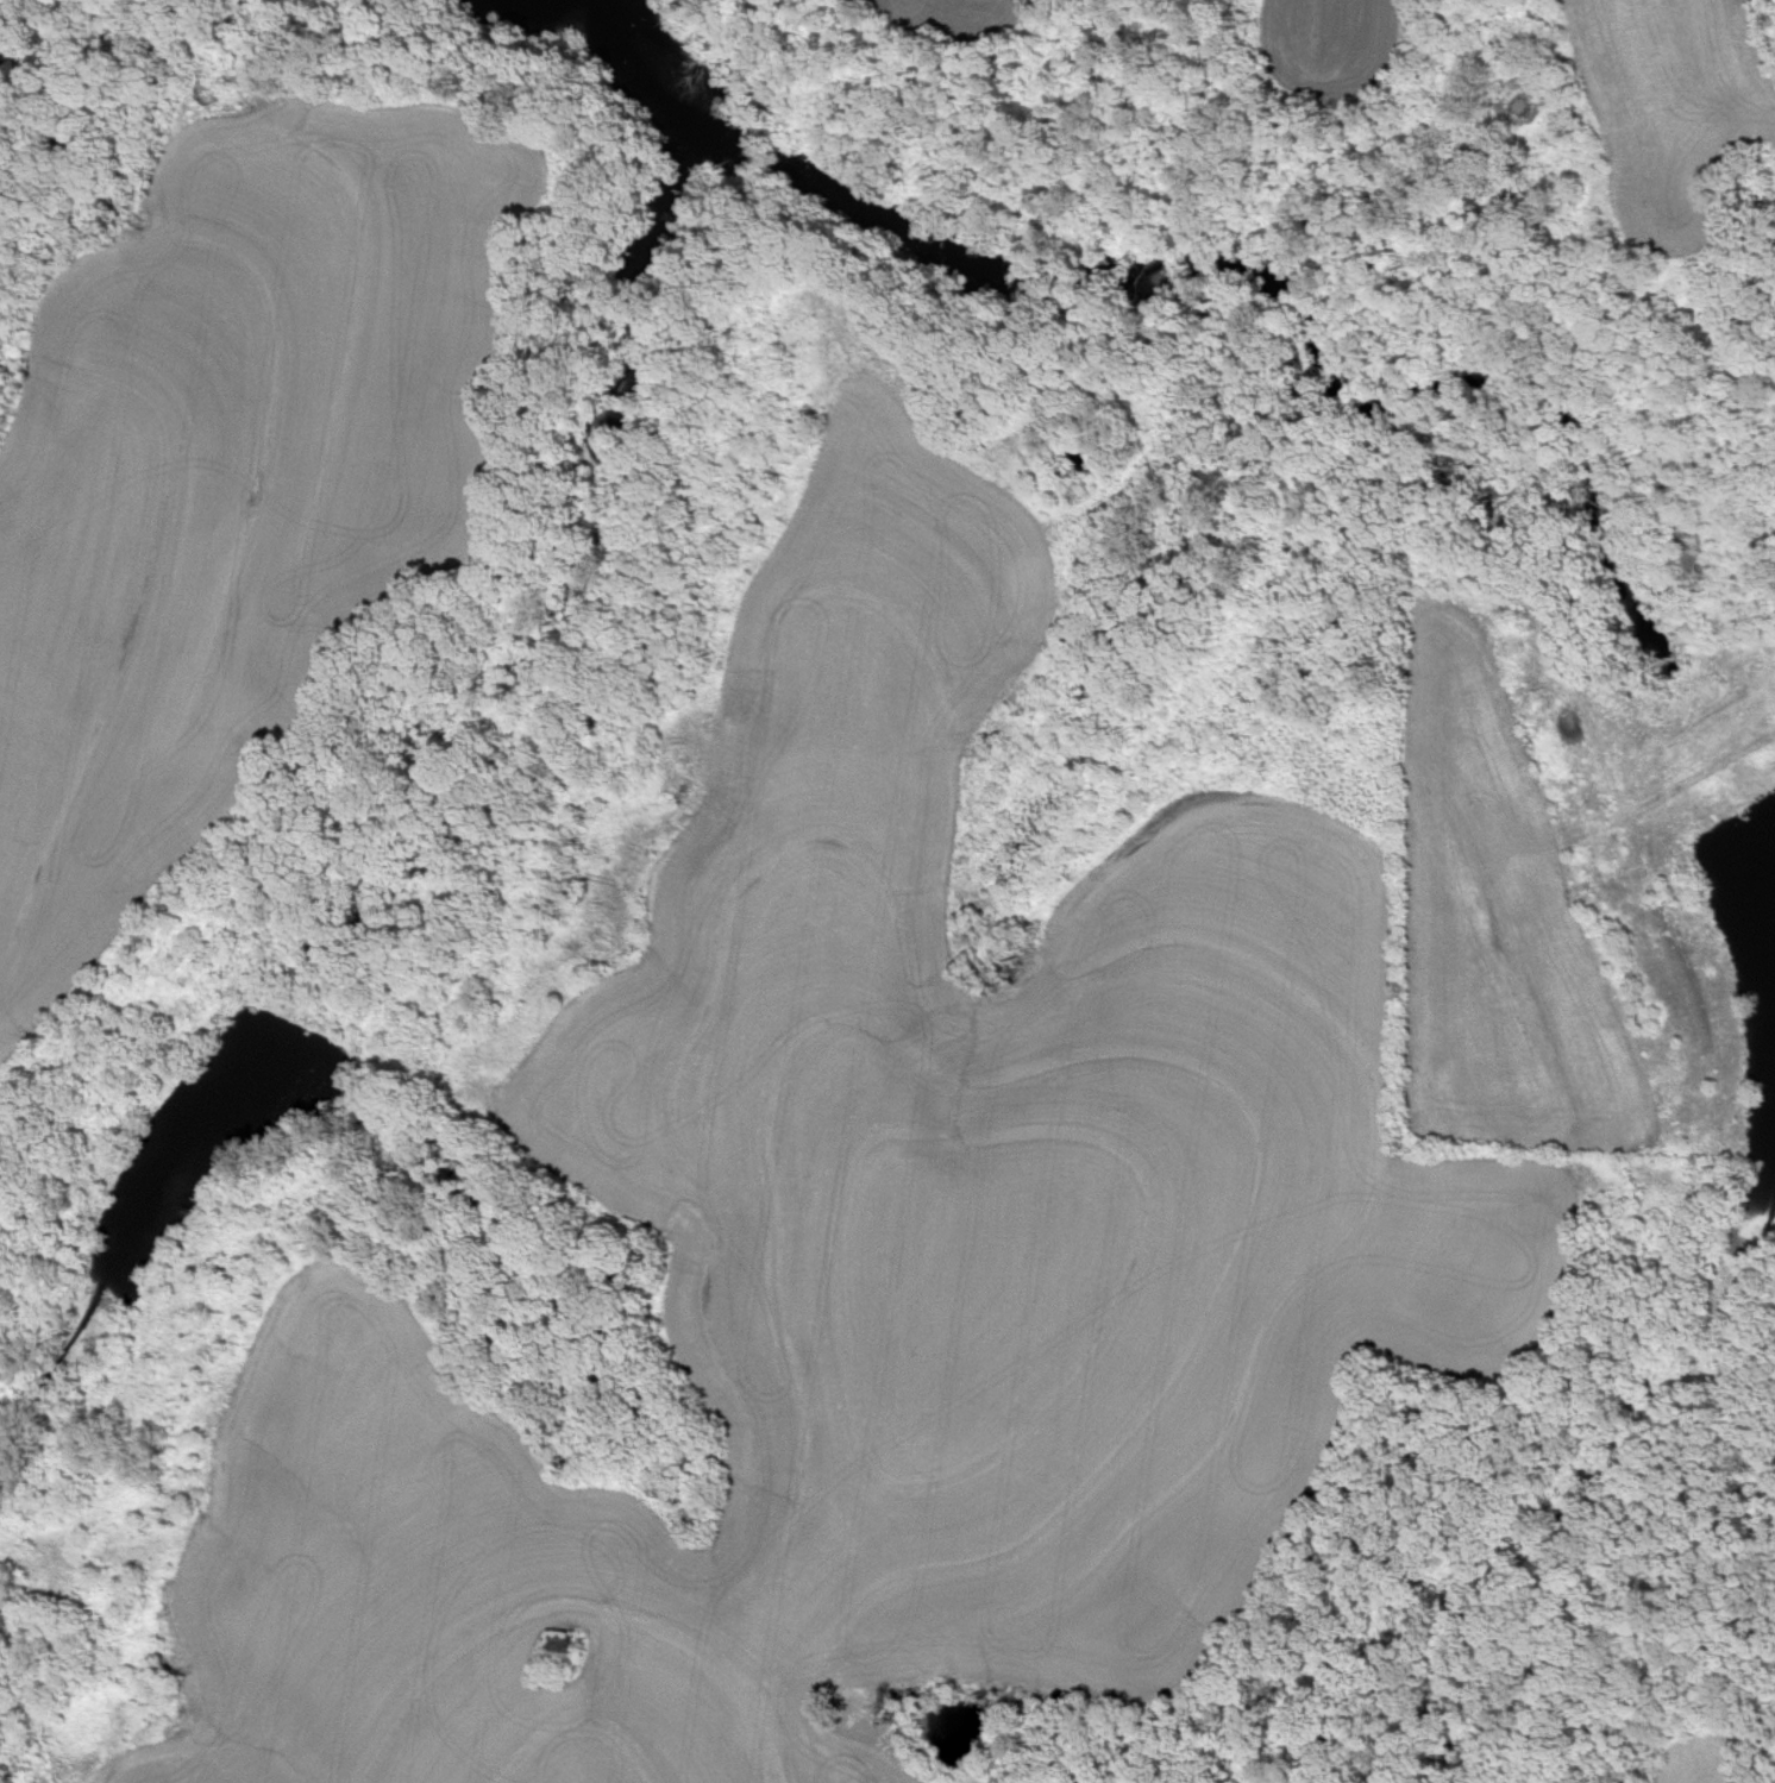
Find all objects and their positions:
building: (562, 1652)

